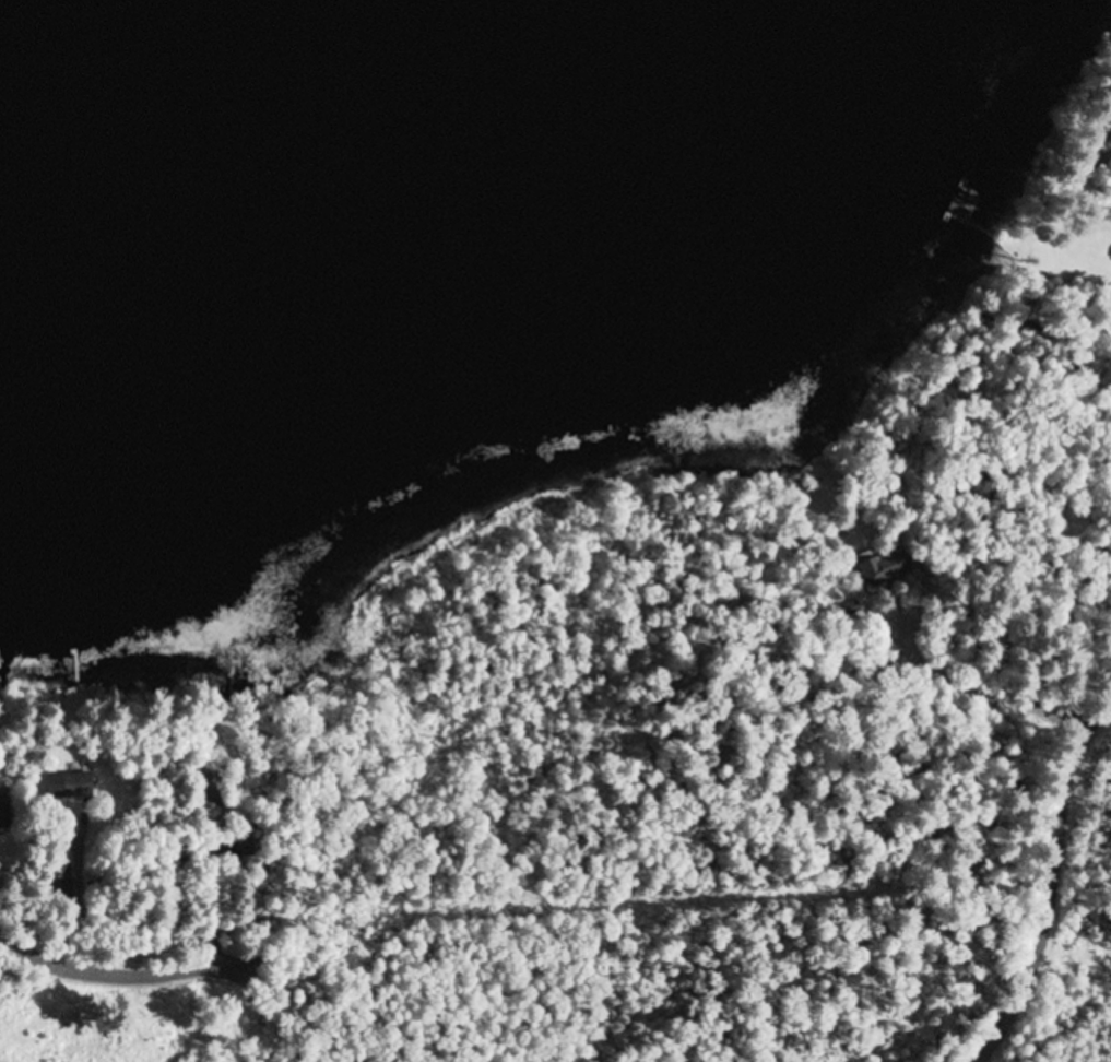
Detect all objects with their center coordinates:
building: (882, 569)
road: (974, 752)
road: (1071, 774)
road: (1090, 784)
building: (71, 787)
building: (208, 792)
building: (4, 812)
building: (60, 883)
road: (1040, 952)
road: (109, 969)

